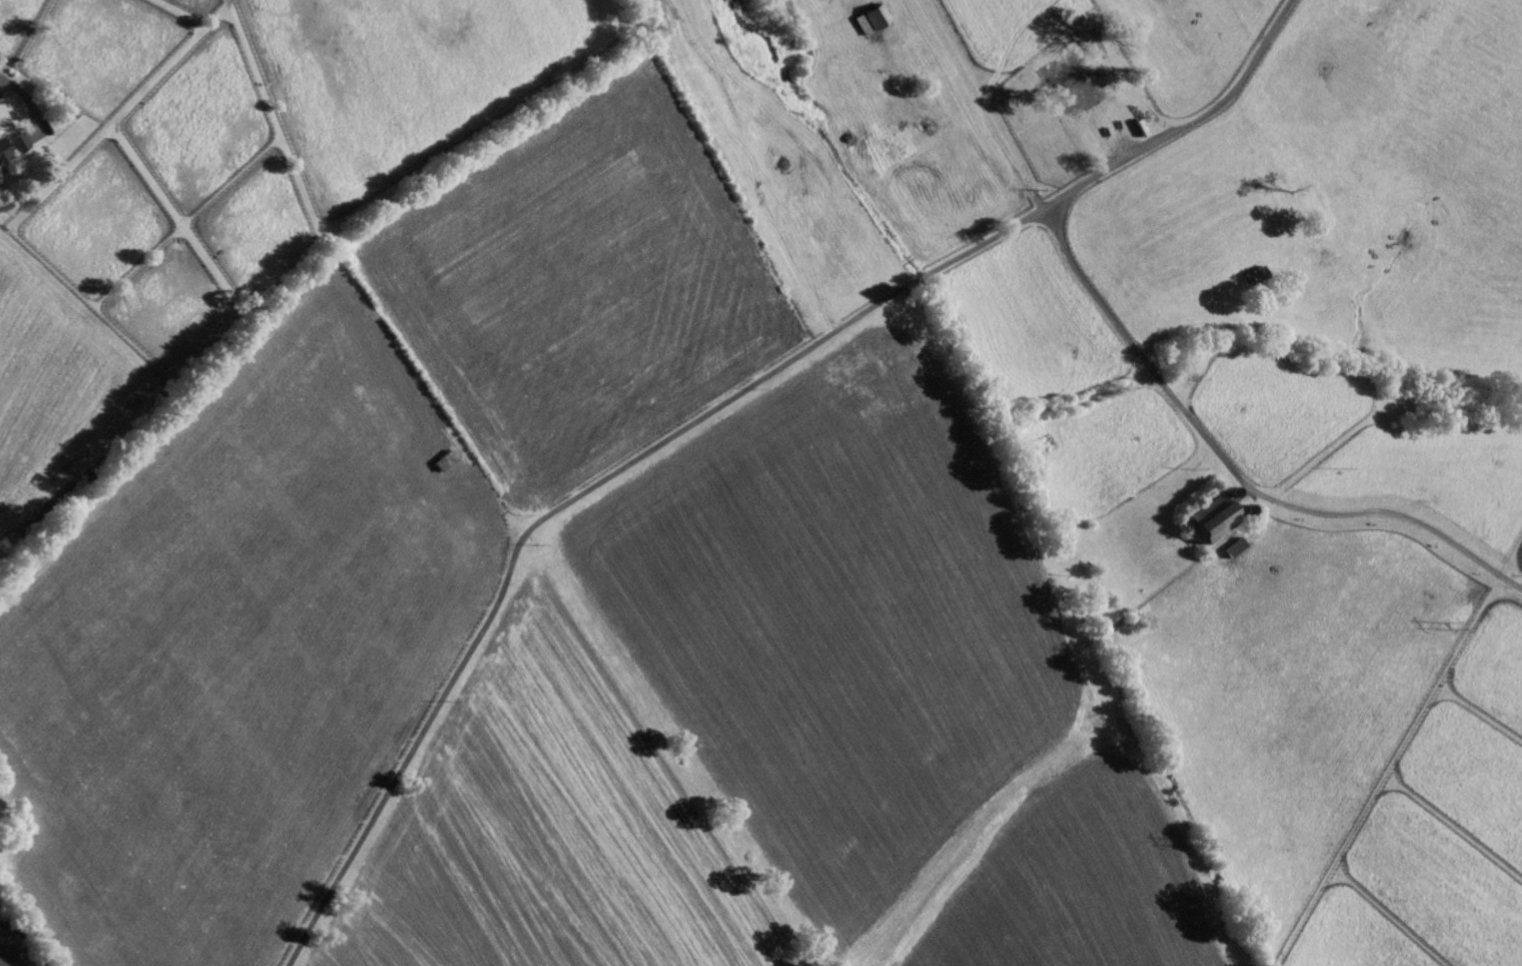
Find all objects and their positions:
building: (877, 19)
road: (32, 109)
building: (19, 144)
building: (3, 153)
road: (1049, 218)
road: (1138, 345)
road: (587, 486)
building: (1217, 516)
building: (1237, 547)
power tower: (1452, 625)
power tower: (1193, 840)

